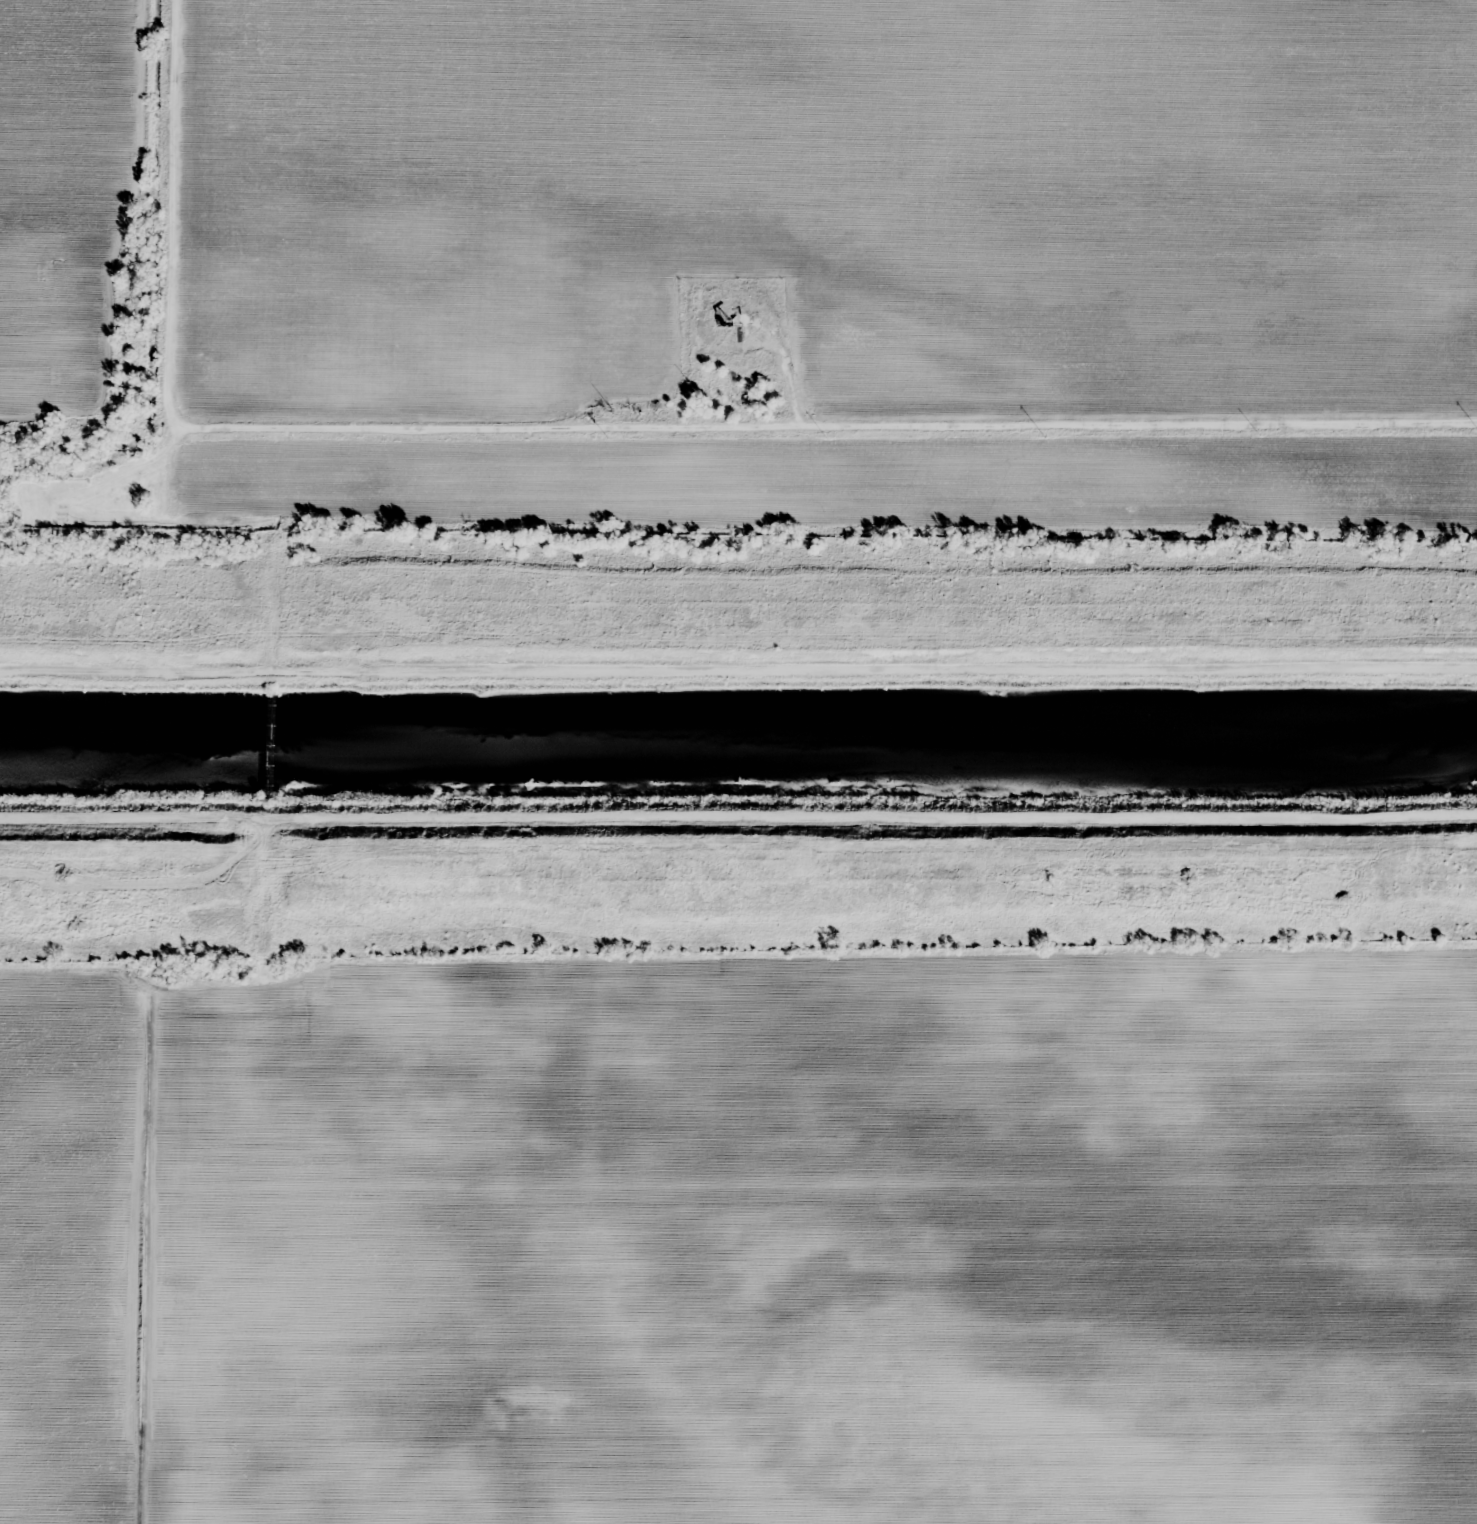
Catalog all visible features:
road: (815, 440)
road: (146, 762)
road: (738, 1189)

